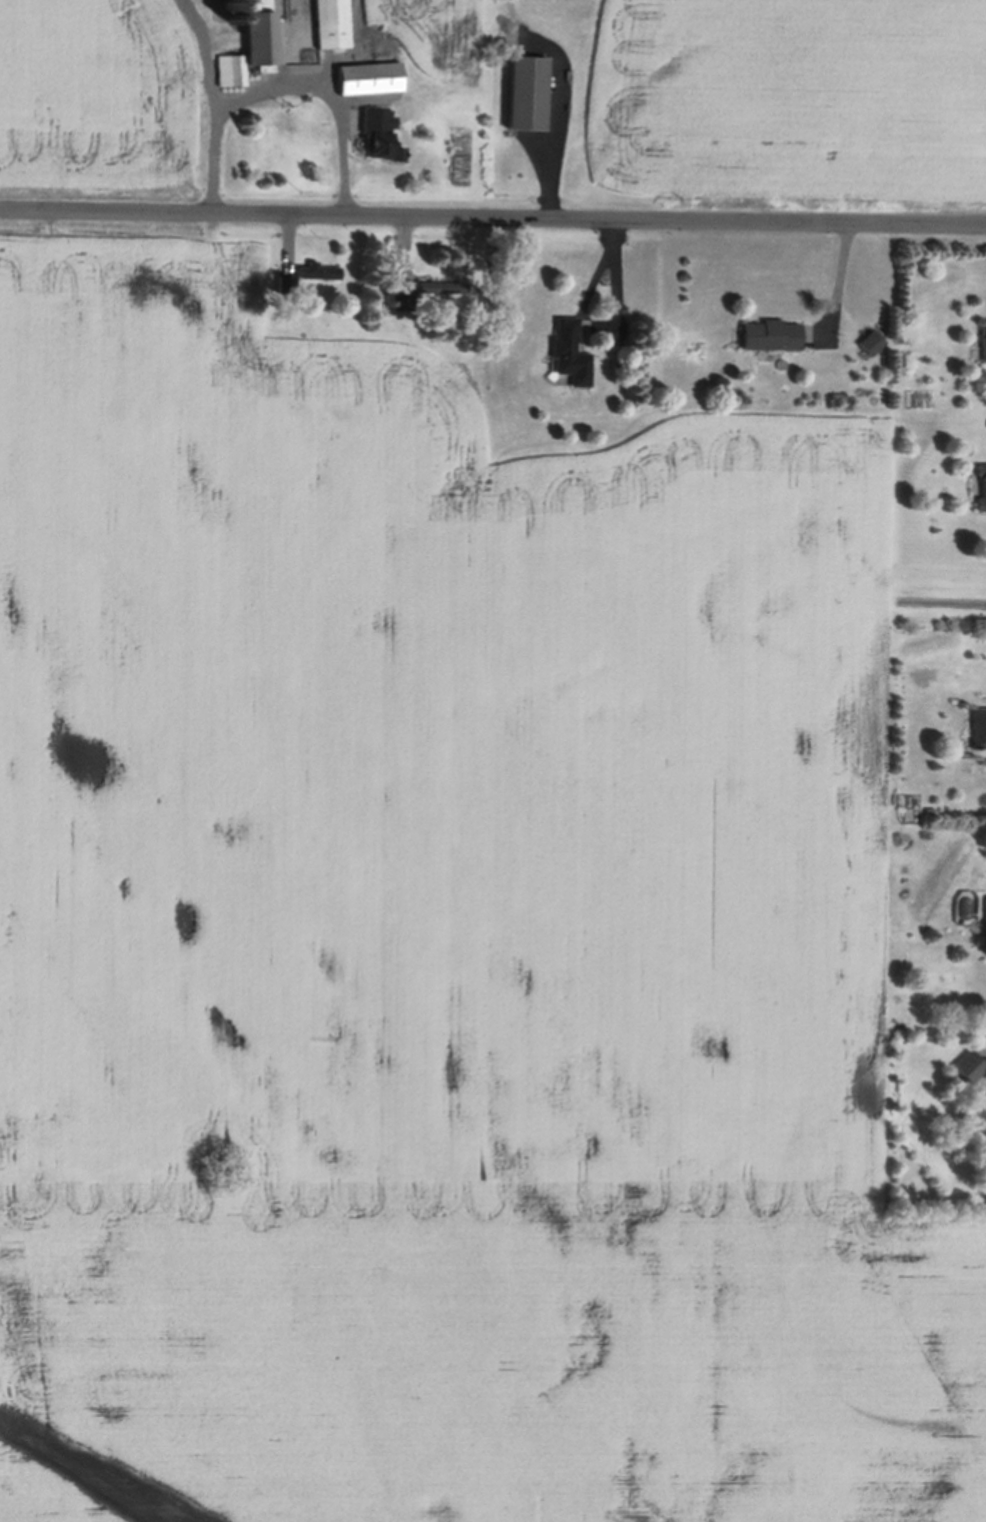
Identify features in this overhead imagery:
building: (332, 23)
building: (259, 34)
building: (231, 69)
building: (369, 75)
road: (331, 91)
building: (528, 91)
road: (214, 103)
building: (380, 133)
road: (493, 215)
building: (319, 270)
road: (838, 282)
building: (287, 283)
building: (443, 286)
building: (404, 294)
building: (772, 334)
building: (984, 339)
building: (873, 341)
building: (569, 351)
building: (984, 481)
building: (978, 728)
building: (930, 811)
building: (985, 936)
building: (969, 1067)
building: (979, 1117)

